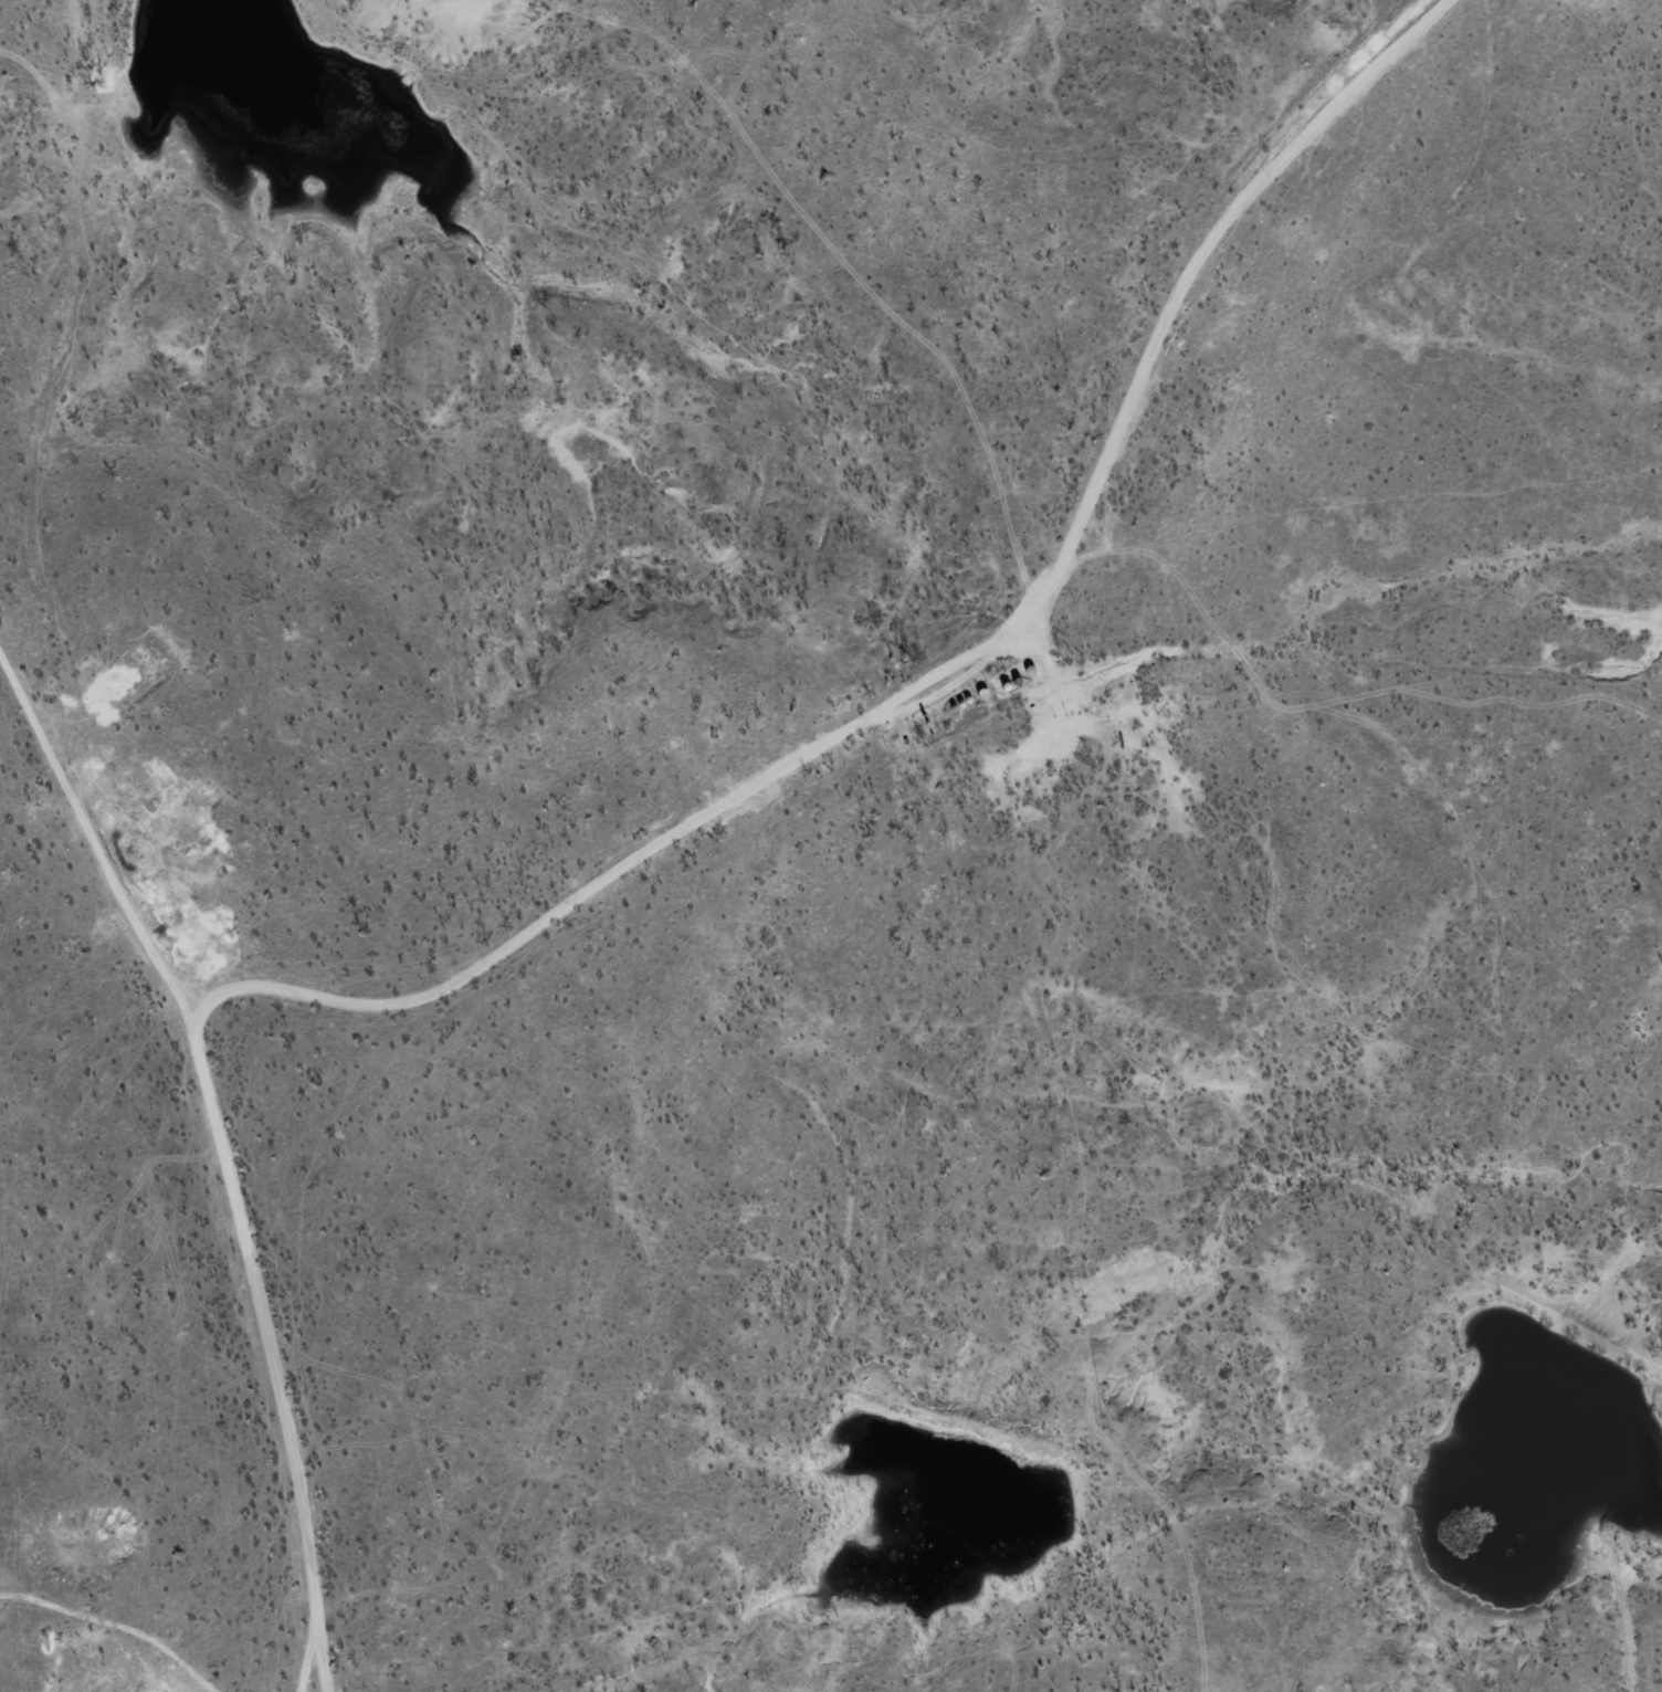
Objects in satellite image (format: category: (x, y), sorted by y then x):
road: (1167, 279)
road: (883, 717)
road: (225, 1175)

